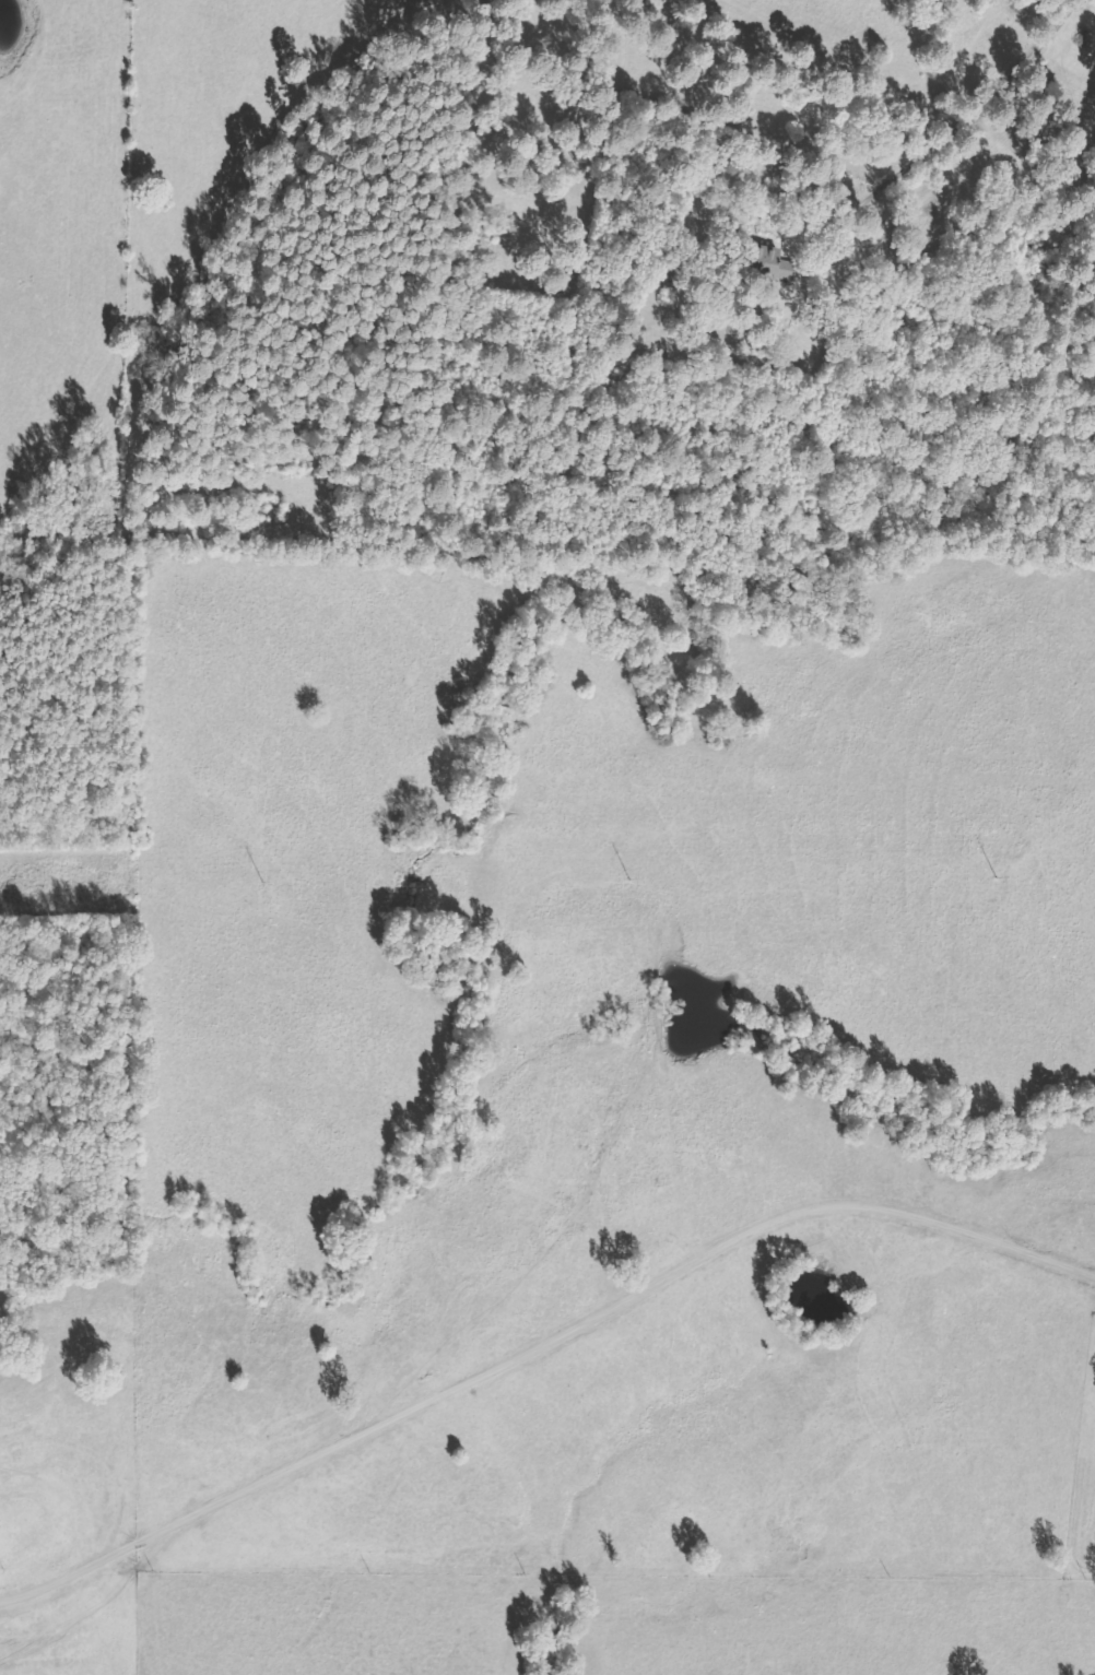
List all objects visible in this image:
power tower: (994, 876)
power tower: (631, 877)
power tower: (263, 882)

